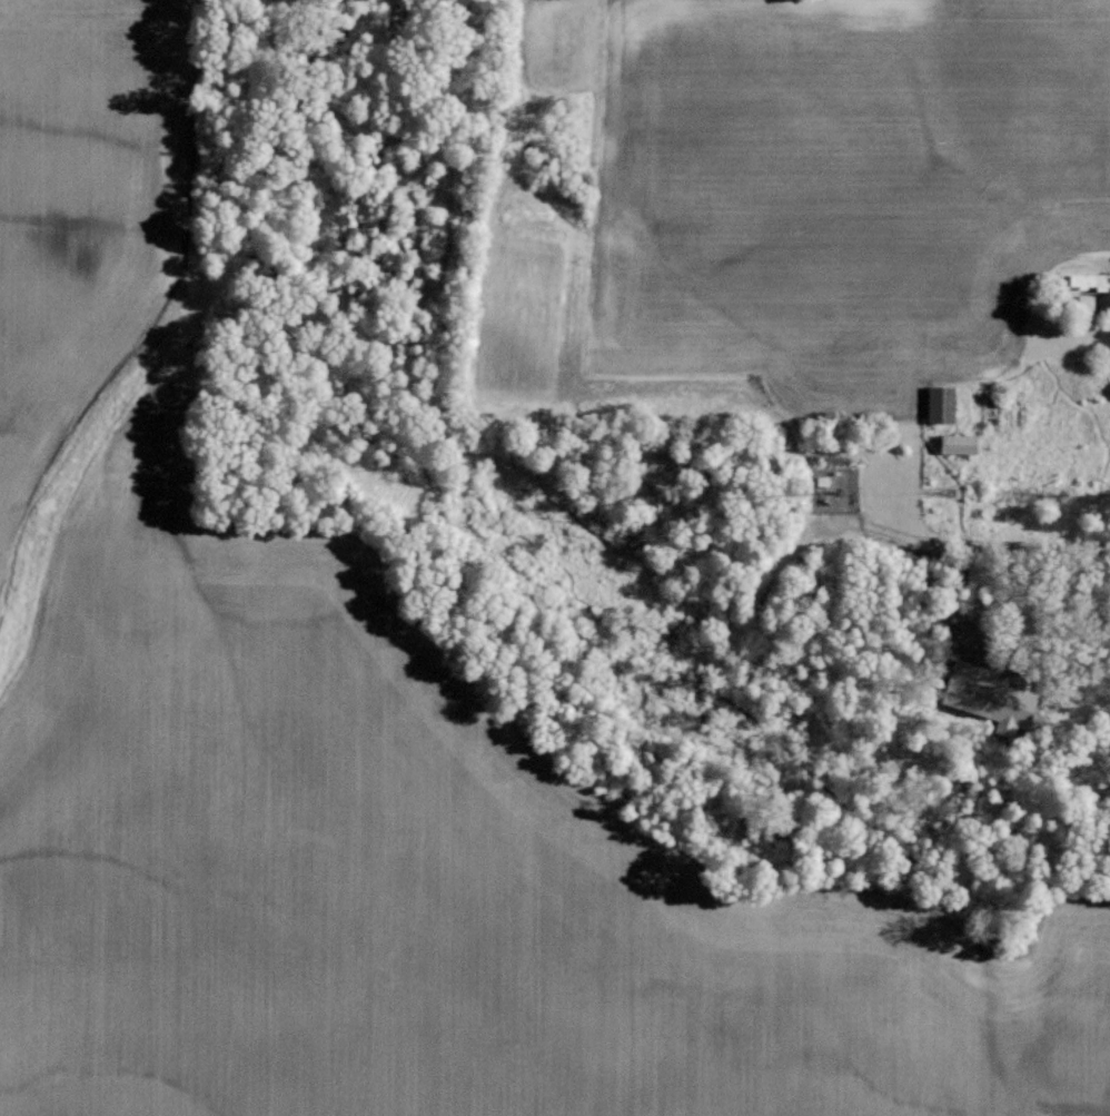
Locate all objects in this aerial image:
building: (1088, 279)
building: (1082, 303)
building: (938, 404)
building: (955, 443)
building: (822, 478)
road: (973, 542)

